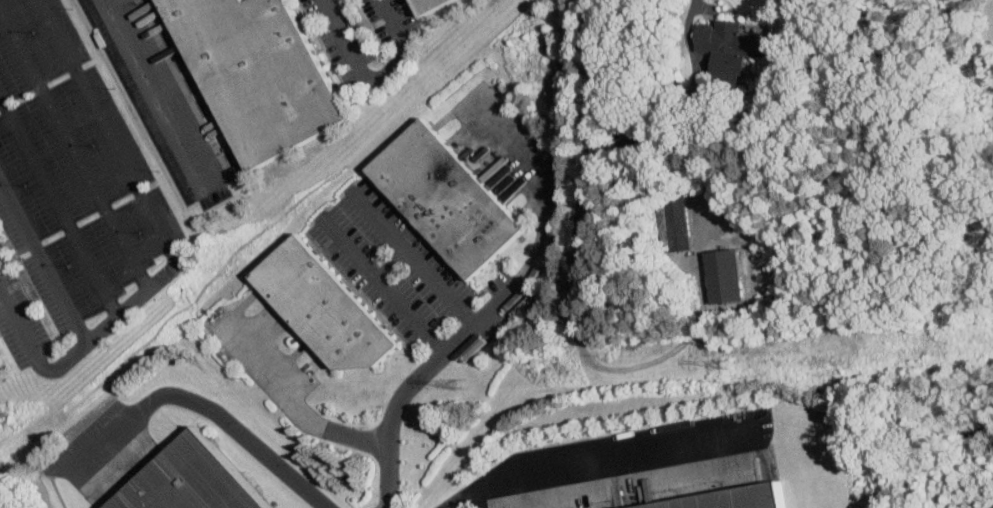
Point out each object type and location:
road: (695, 1)
building: (431, 5)
building: (727, 40)
building: (261, 70)
road: (377, 75)
road: (149, 84)
road: (655, 100)
road: (636, 141)
road: (73, 150)
building: (448, 199)
road: (57, 203)
building: (672, 220)
road: (166, 245)
road: (412, 256)
road: (42, 259)
road: (391, 263)
building: (720, 274)
road: (514, 281)
road: (382, 284)
building: (325, 307)
building: (1, 349)
road: (586, 357)
power tower: (732, 364)
power tower: (461, 384)
road: (199, 406)
power tower: (7, 418)
road: (316, 422)
road: (594, 453)
building: (191, 479)
building: (731, 498)

